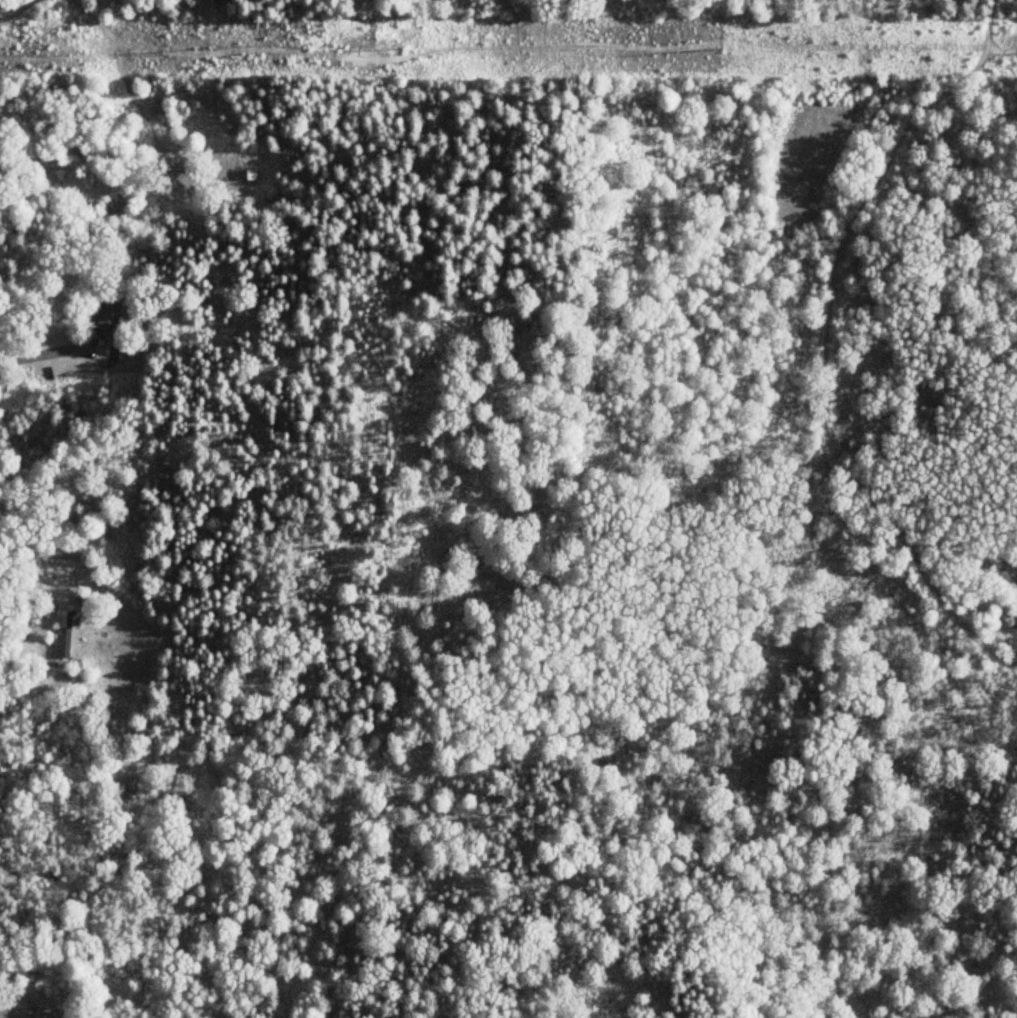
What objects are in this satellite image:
building: (64, 633)

